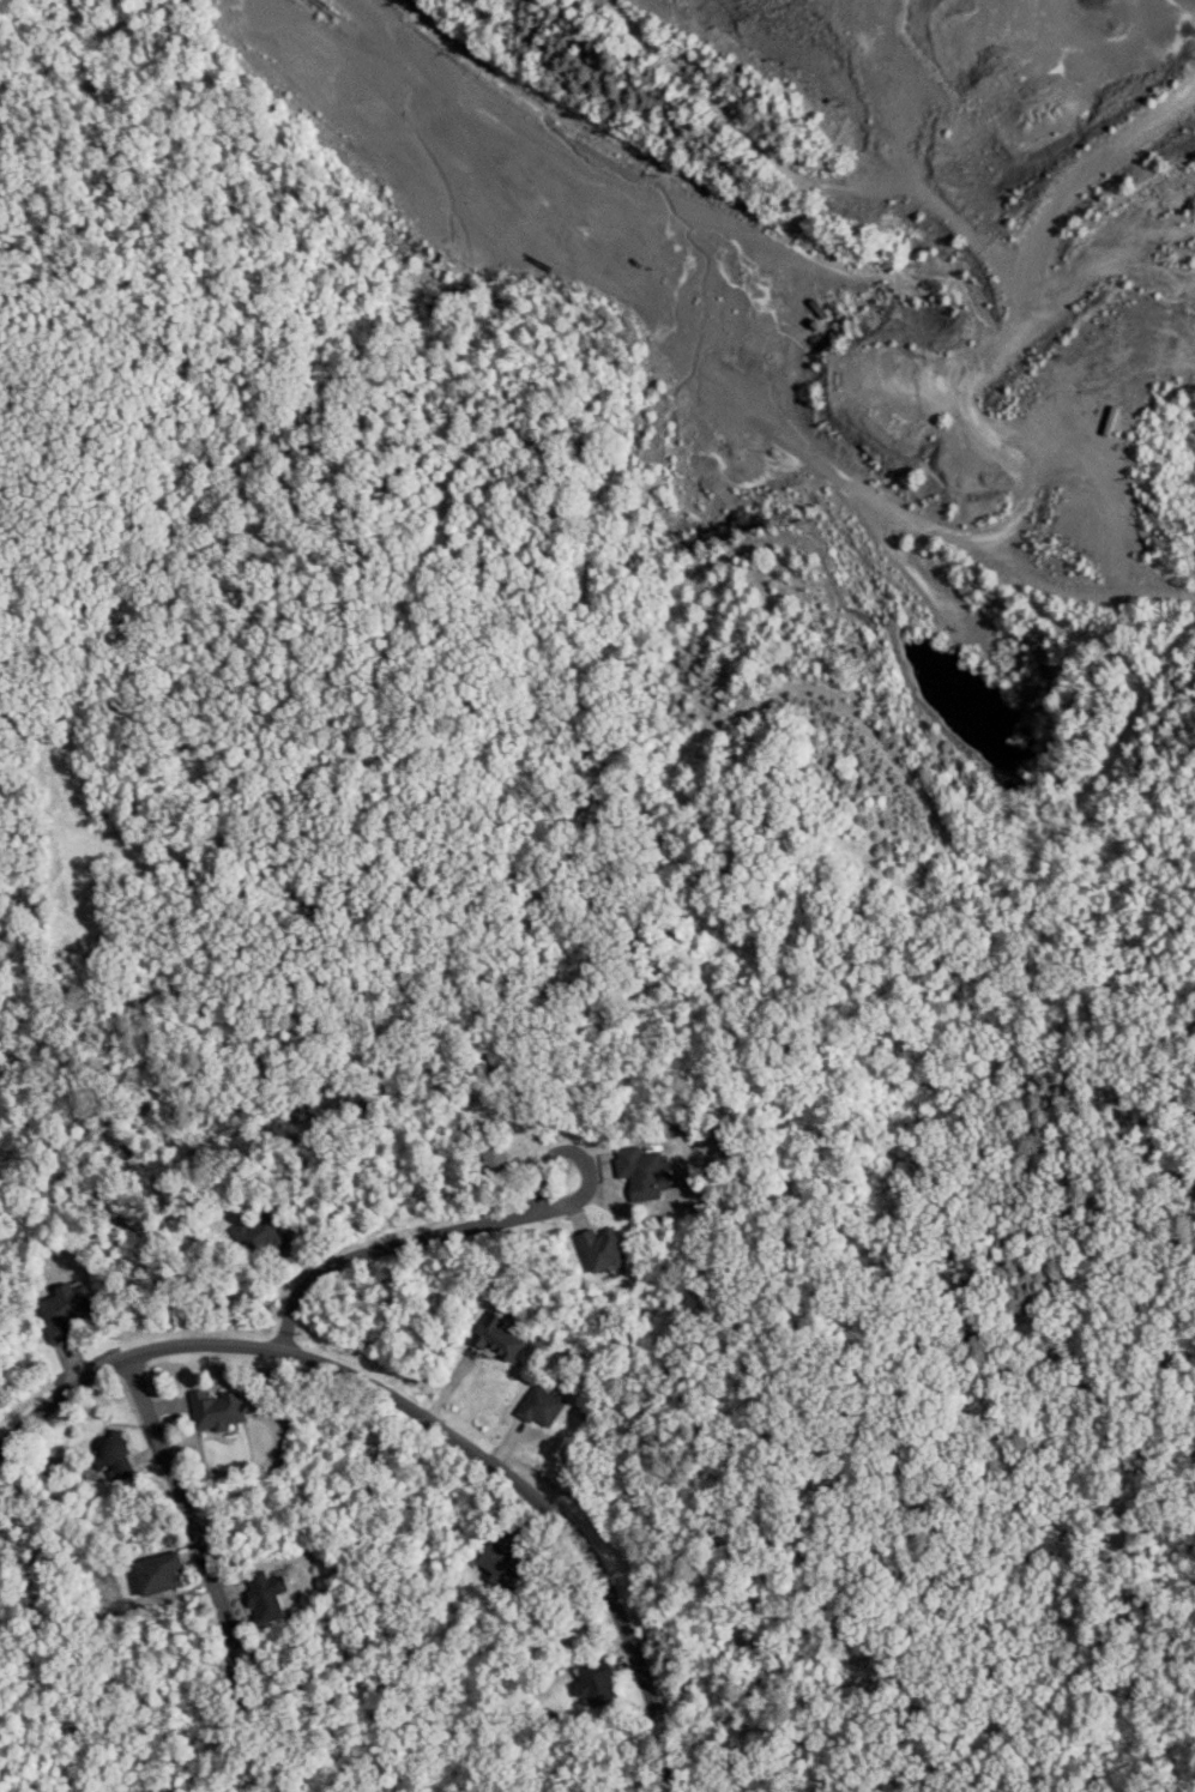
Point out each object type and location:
road: (790, 125)
building: (642, 1172)
building: (259, 1236)
road: (404, 1241)
building: (602, 1248)
building: (65, 1310)
building: (497, 1337)
building: (541, 1405)
building: (217, 1408)
road: (424, 1420)
building: (116, 1458)
road: (179, 1491)
building: (503, 1557)
building: (158, 1571)
building: (266, 1595)
building: (597, 1683)

